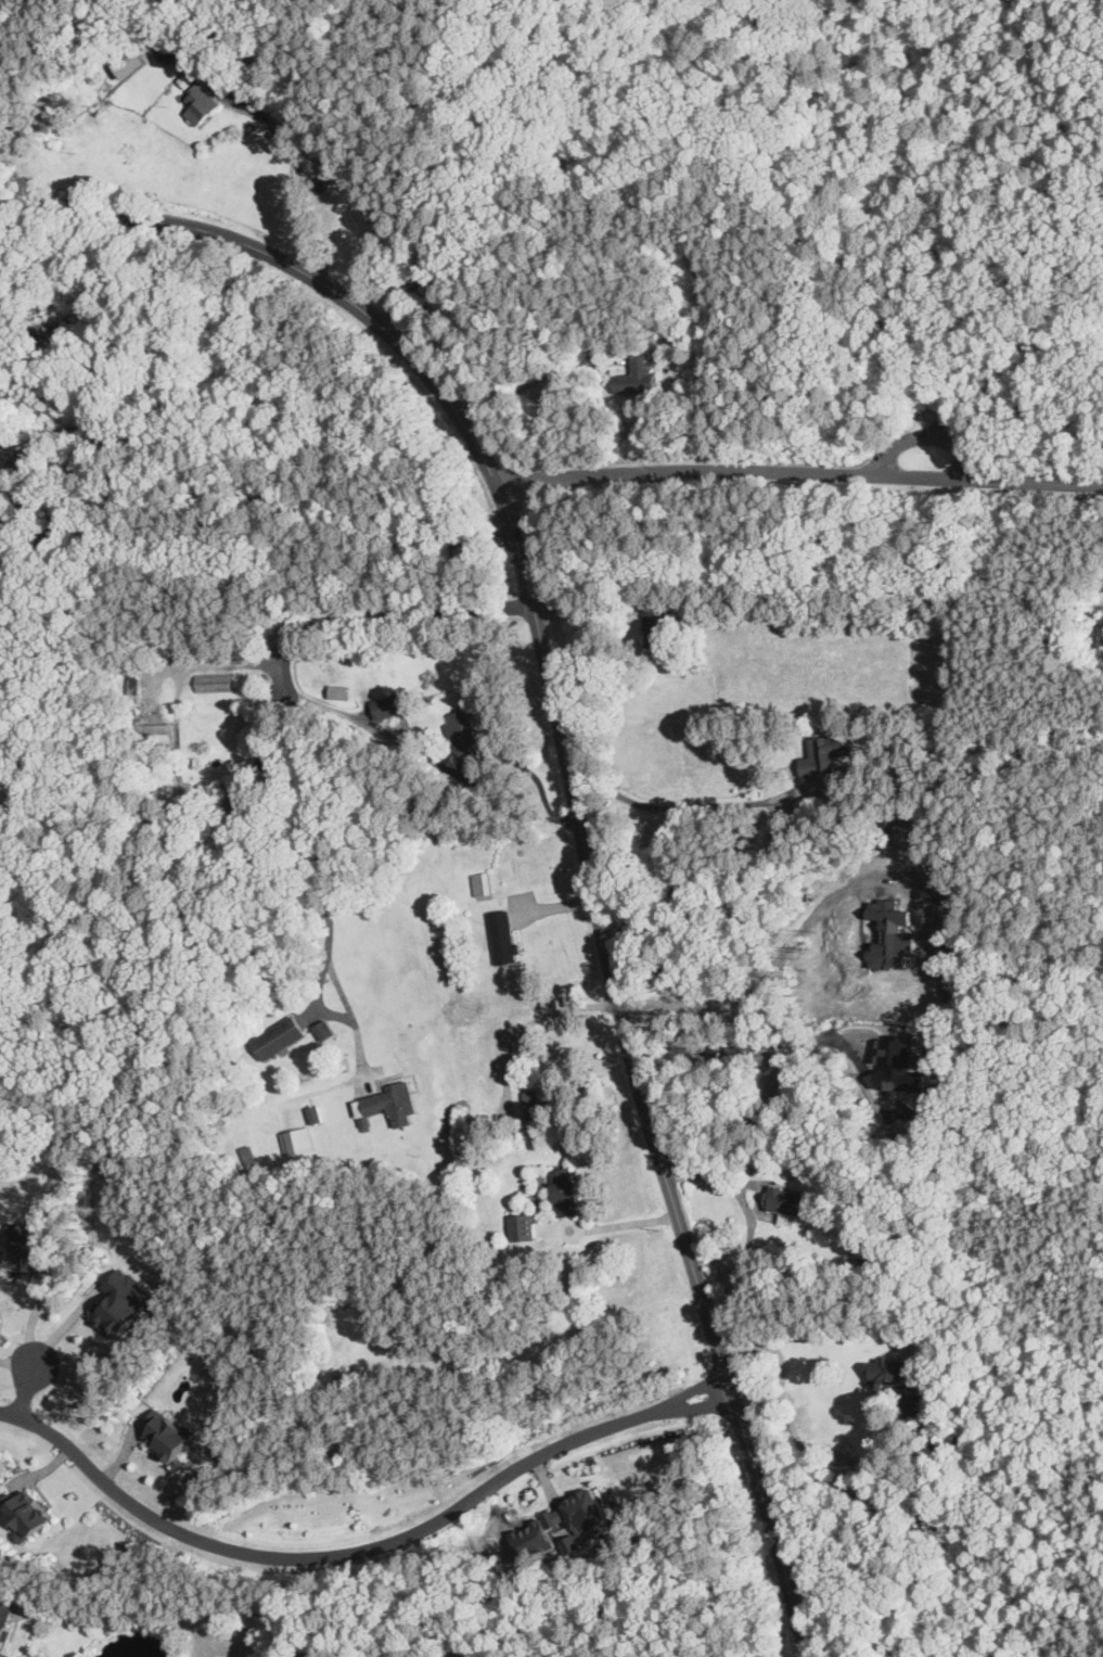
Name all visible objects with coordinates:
building: (171, 42)
road: (800, 58)
building: (132, 62)
building: (204, 104)
road: (296, 160)
building: (371, 215)
road: (395, 281)
building: (426, 290)
park: (782, 365)
building: (637, 375)
road: (535, 386)
building: (0, 432)
road: (931, 436)
road: (800, 471)
road: (230, 486)
road: (66, 515)
road: (25, 524)
road: (574, 614)
road: (304, 625)
building: (658, 626)
building: (343, 693)
building: (395, 706)
building: (466, 738)
road: (432, 761)
building: (831, 761)
road: (570, 777)
road: (684, 806)
road: (517, 807)
building: (907, 831)
building: (484, 885)
road: (555, 907)
building: (892, 935)
building: (506, 940)
road: (331, 966)
road: (754, 989)
building: (323, 1029)
building: (279, 1037)
road: (757, 1046)
road: (512, 1048)
building: (394, 1102)
building: (537, 1107)
building: (298, 1140)
building: (567, 1195)
building: (792, 1203)
road: (586, 1208)
road: (749, 1221)
road: (607, 1228)
building: (525, 1231)
building: (18, 1251)
building: (120, 1302)
road: (34, 1315)
road: (62, 1325)
road: (16, 1365)
building: (892, 1375)
road: (26, 1391)
building: (167, 1433)
road: (798, 1453)
building: (26, 1513)
building: (576, 1519)
road: (361, 1551)
road: (168, 1620)
building: (5, 1622)

